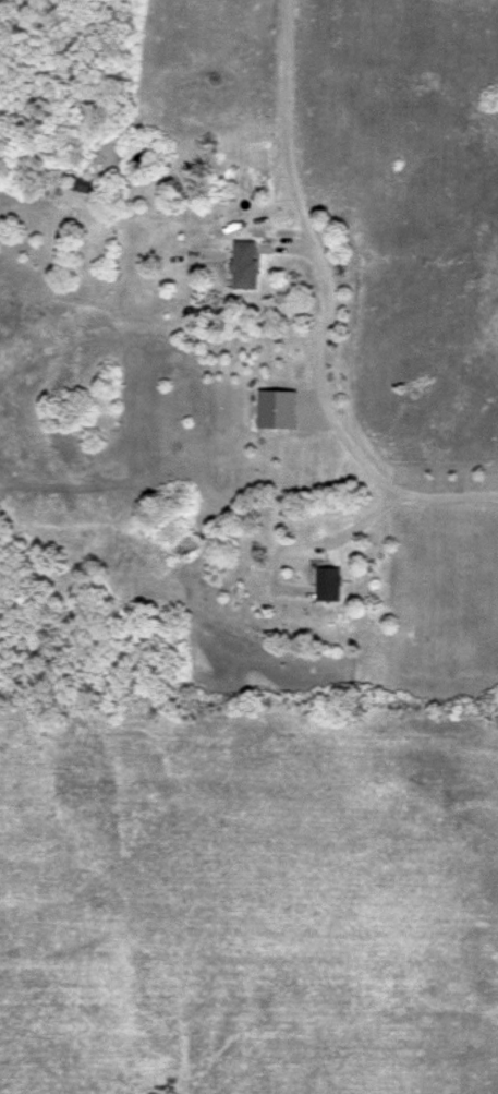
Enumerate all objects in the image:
building: (80, 184)
road: (286, 249)
building: (242, 263)
road: (325, 311)
building: (275, 408)
road: (341, 536)
building: (327, 582)

